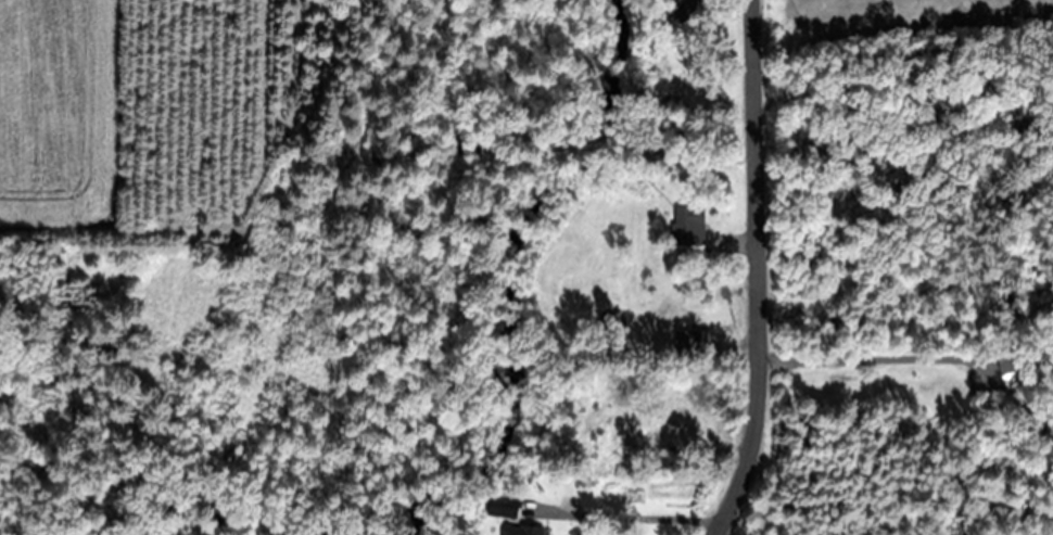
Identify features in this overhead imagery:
building: (680, 10)
building: (686, 137)
building: (651, 170)
building: (689, 224)
building: (660, 234)
road: (761, 271)
building: (703, 340)
building: (586, 475)
building: (503, 505)
building: (524, 530)

